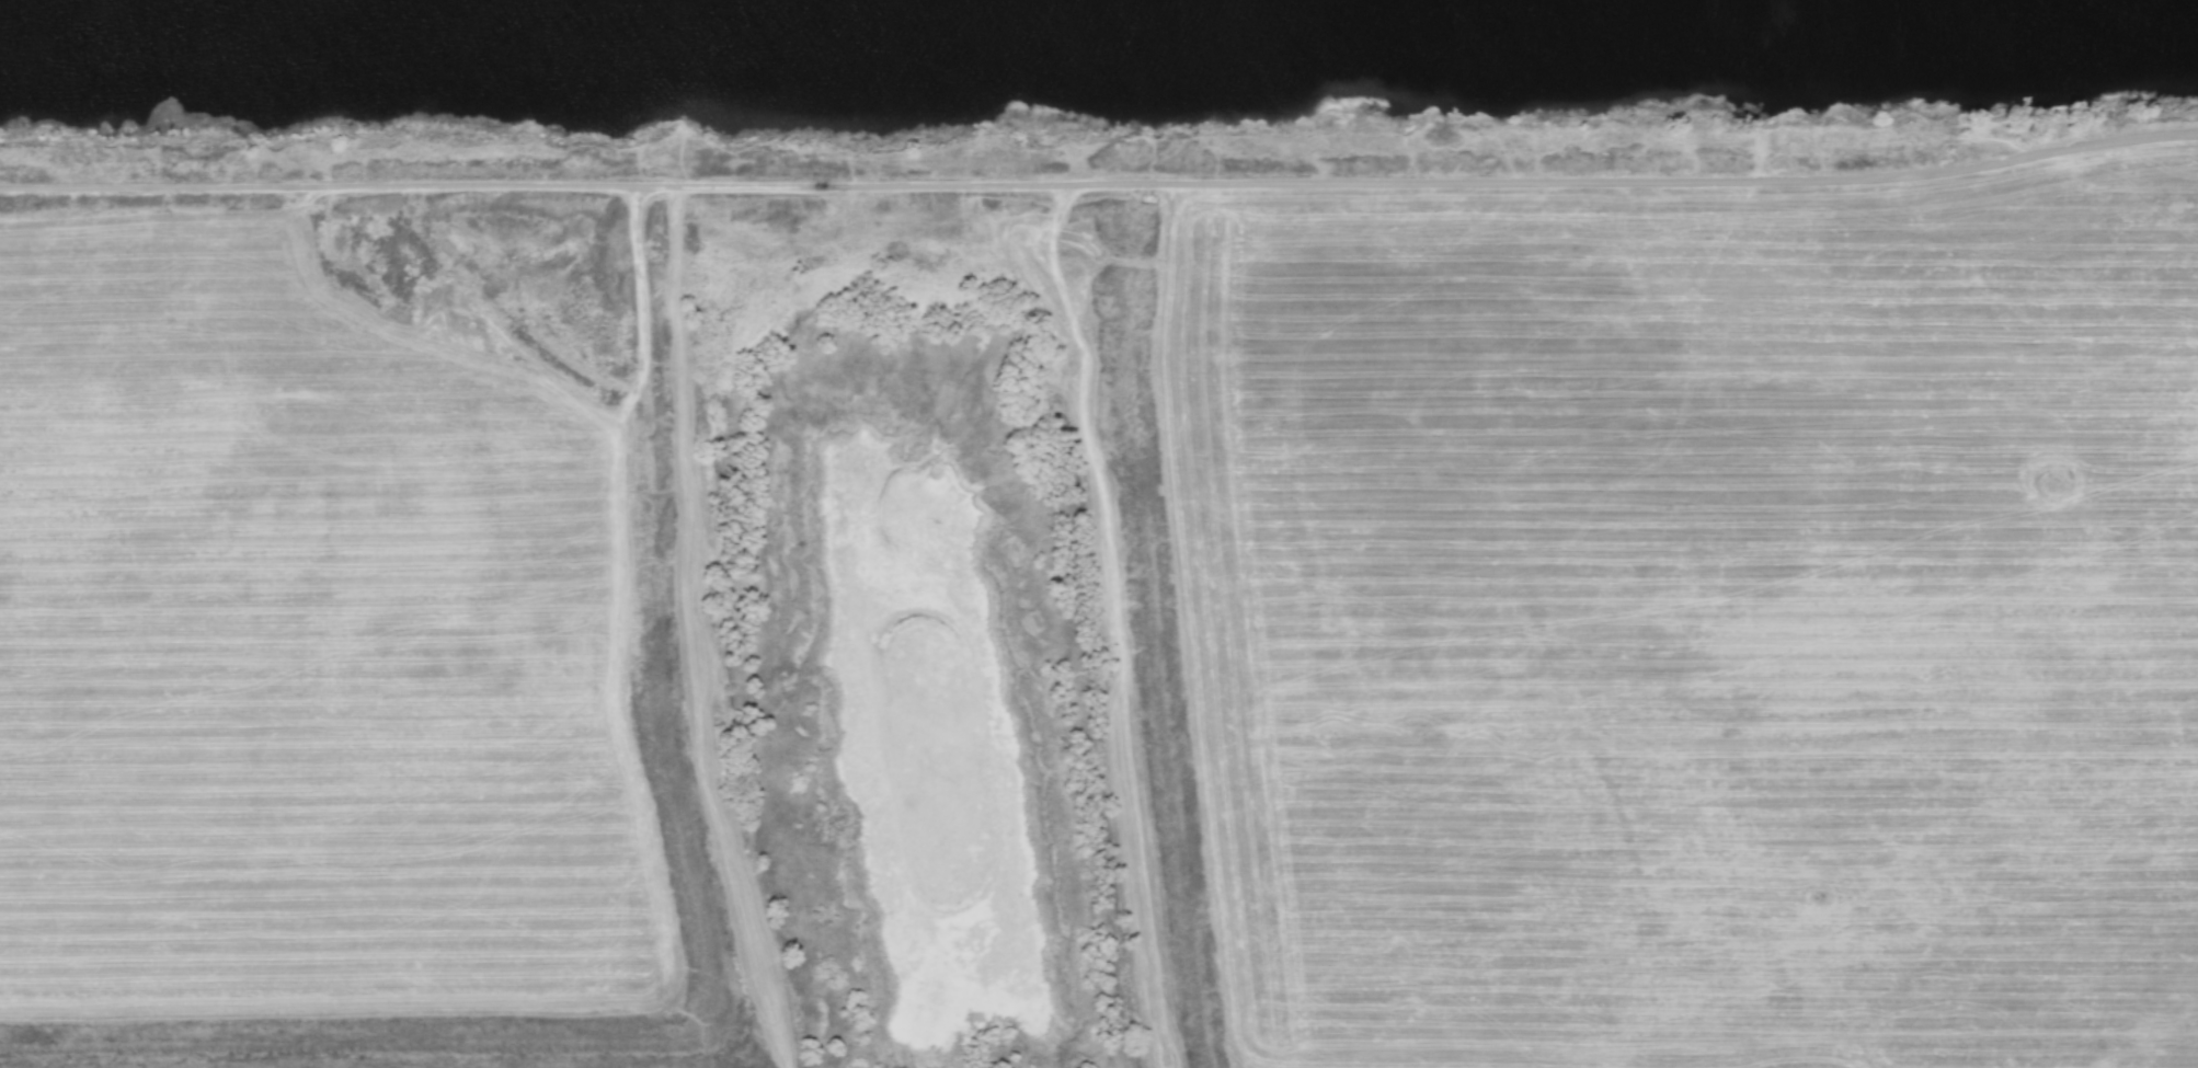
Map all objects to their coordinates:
road: (1100, 187)
crop: (356, 746)

